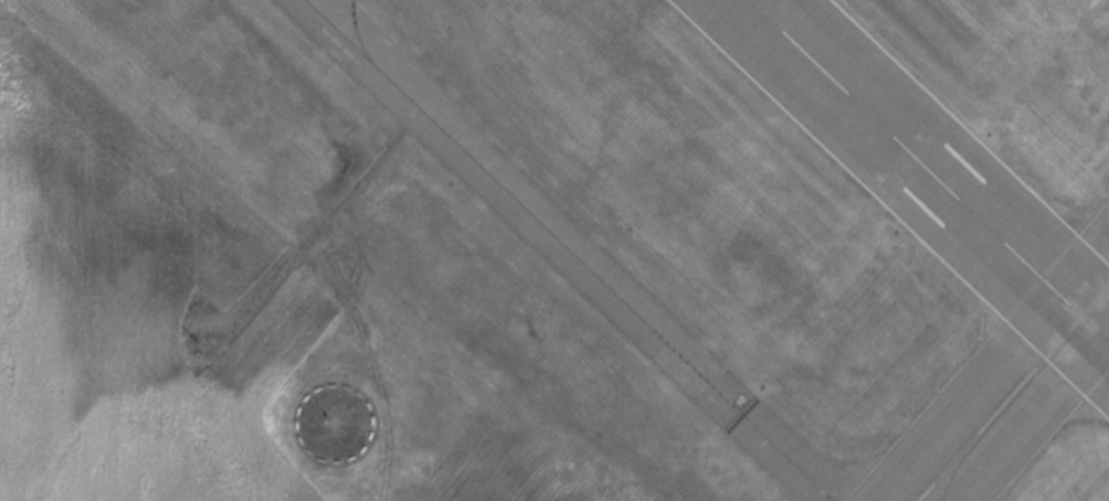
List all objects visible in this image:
airport taxiway: (357, 33)
airport runway: (929, 170)
airport taxiway: (569, 249)
airport: (554, 250)
airport runway: (1013, 393)

